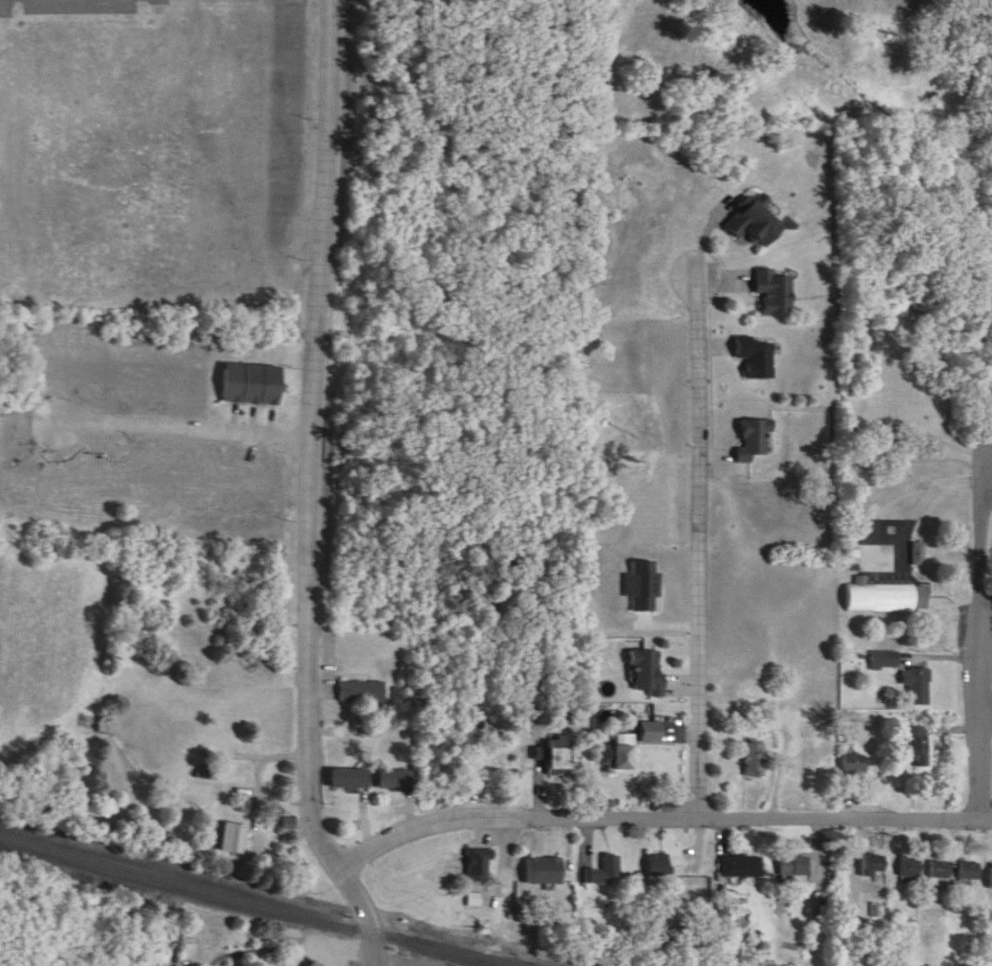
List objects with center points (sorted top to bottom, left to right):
road: (3, 8)
road: (326, 219)
building: (758, 226)
building: (778, 294)
park: (924, 314)
building: (758, 357)
building: (253, 385)
road: (184, 429)
building: (756, 439)
park: (983, 451)
road: (988, 490)
road: (872, 495)
road: (705, 533)
road: (988, 586)
building: (644, 588)
building: (888, 598)
road: (984, 622)
road: (319, 654)
building: (887, 661)
building: (649, 673)
building: (919, 685)
building: (365, 693)
road: (988, 699)
building: (652, 733)
building: (920, 747)
building: (625, 755)
building: (757, 760)
building: (561, 762)
building: (856, 764)
building: (352, 780)
building: (399, 781)
road: (663, 801)
building: (236, 840)
building: (481, 866)
building: (662, 866)
building: (743, 866)
building: (800, 866)
building: (875, 867)
building: (912, 868)
building: (942, 870)
building: (547, 872)
building: (608, 872)
building: (971, 873)
railway: (272, 896)
road: (368, 913)

